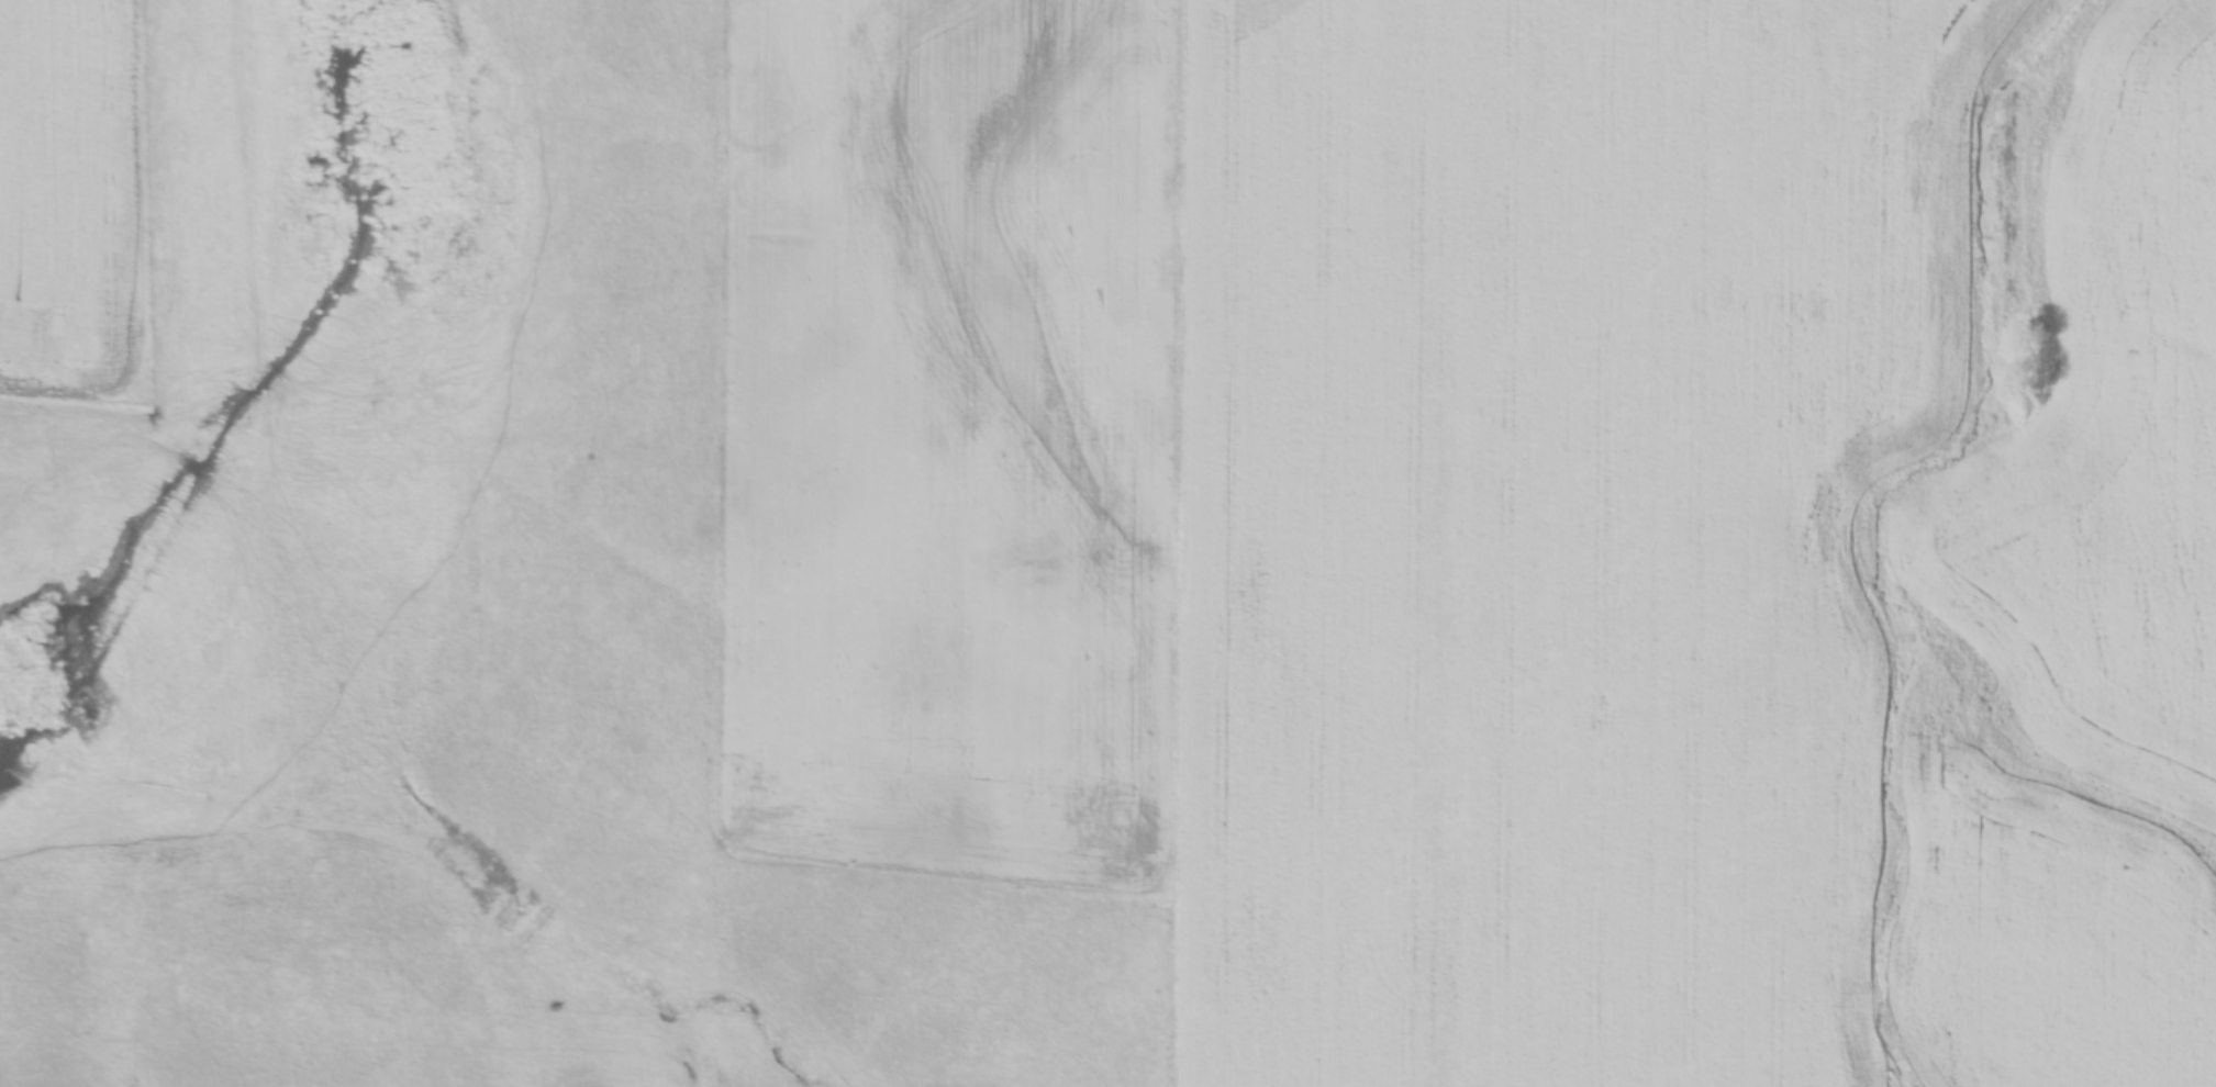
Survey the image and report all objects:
crop: (954, 438)

